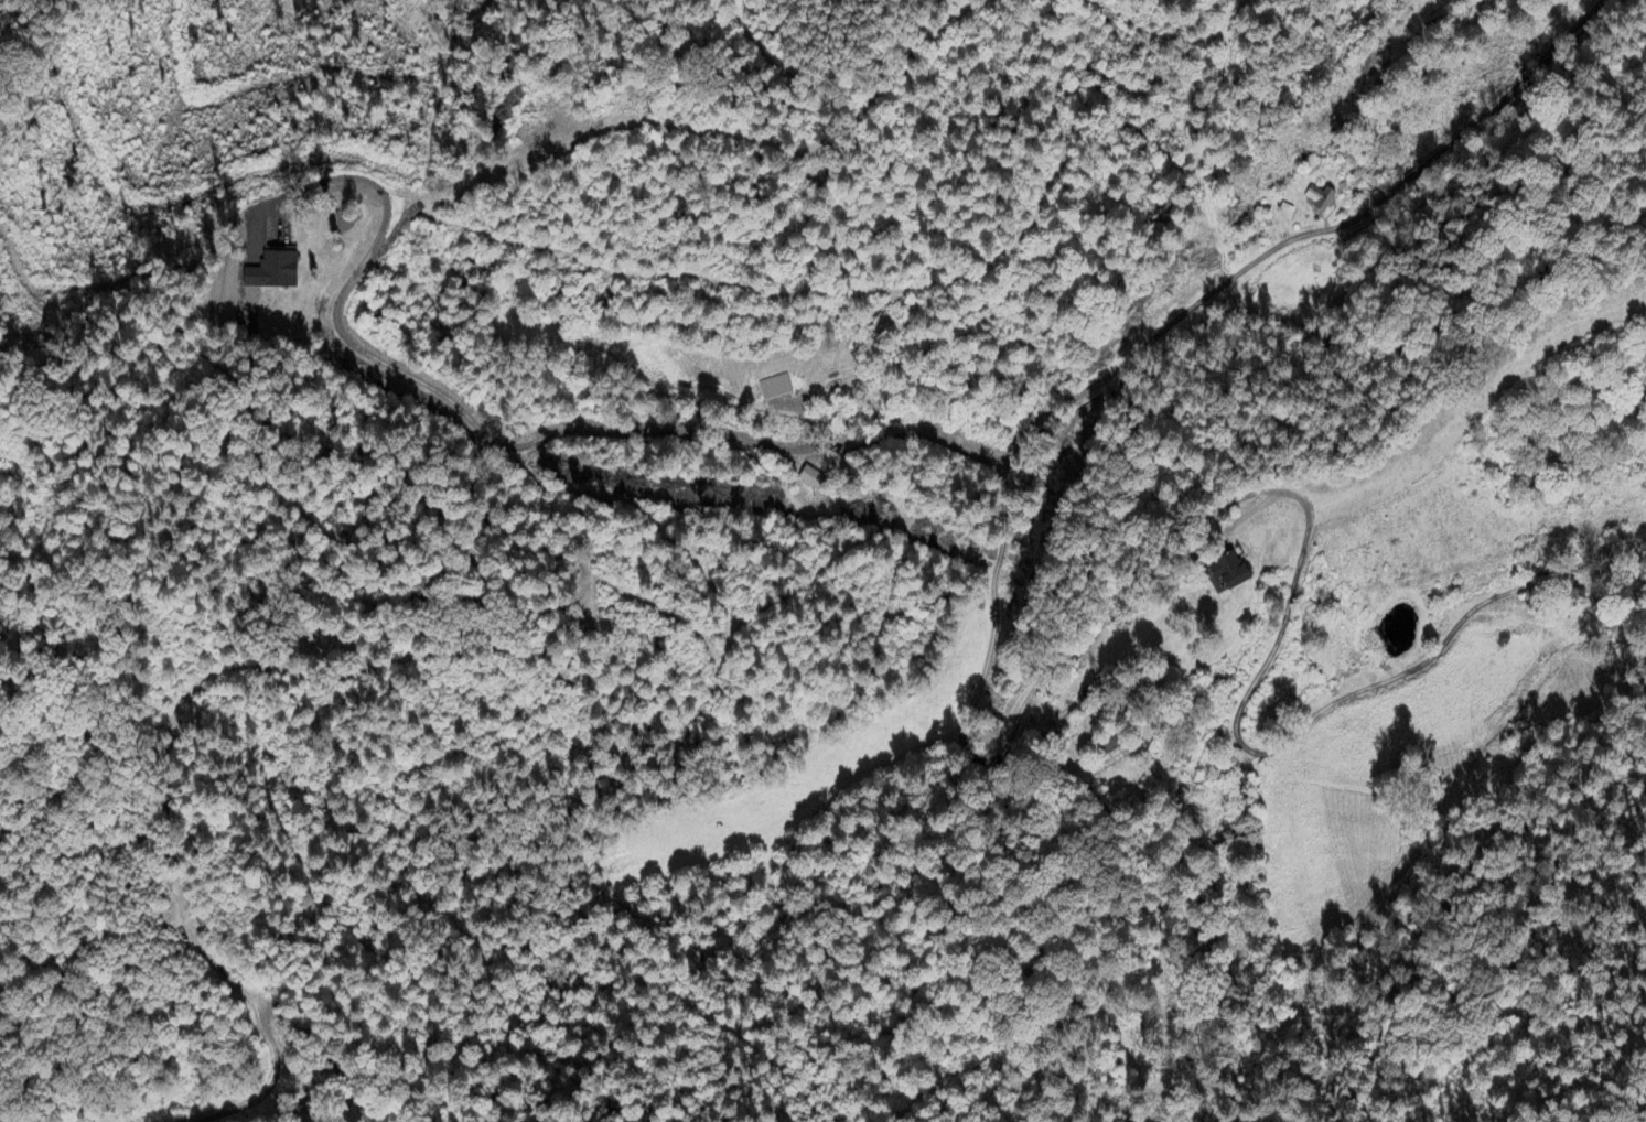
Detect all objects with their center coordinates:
building: (1319, 198)
building: (1238, 574)
building: (1108, 752)
building: (1241, 787)

